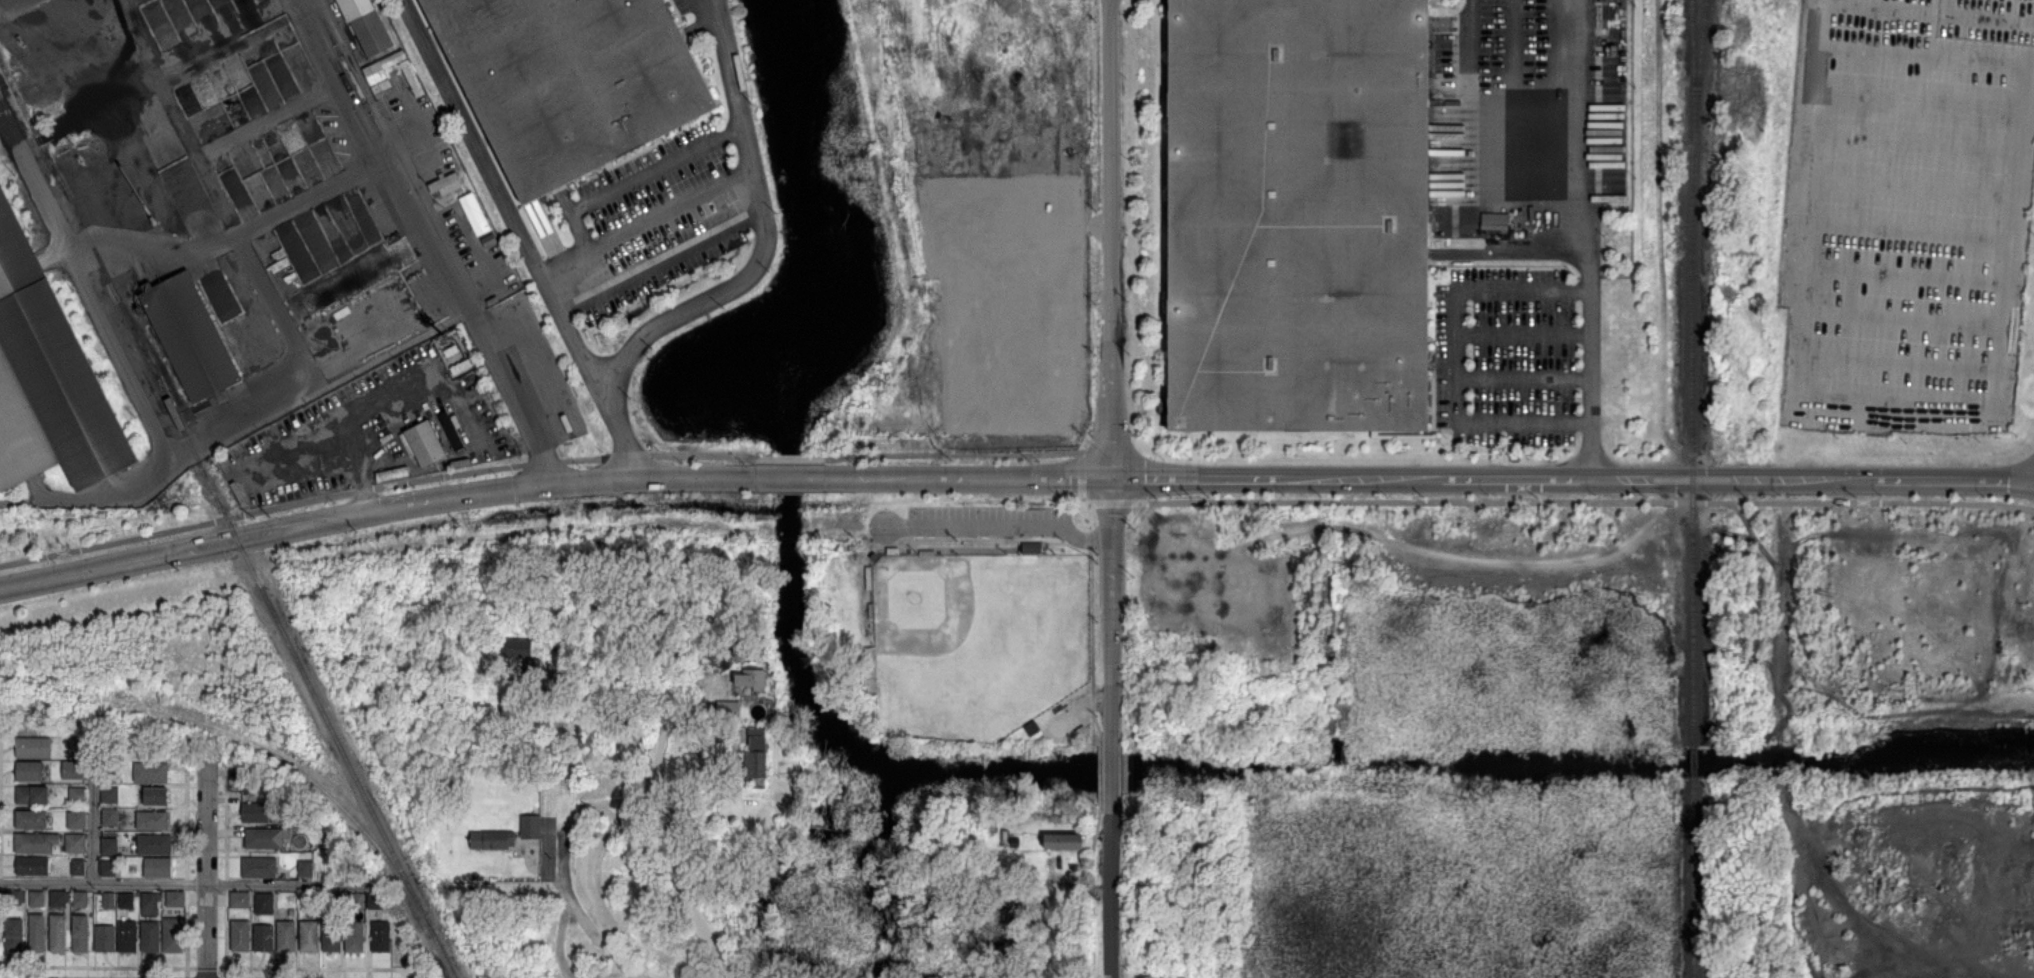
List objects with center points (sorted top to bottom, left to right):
parking lot: (685, 6)
road: (1924, 12)
road: (712, 25)
building: (371, 33)
road: (1513, 48)
road: (1920, 54)
railway: (1694, 72)
building: (376, 73)
building: (567, 79)
building: (382, 86)
road: (1480, 96)
road: (1917, 98)
road: (737, 106)
road: (1913, 142)
road: (637, 179)
building: (446, 184)
road: (1909, 186)
parking lot: (1907, 214)
building: (1298, 215)
building: (476, 216)
building: (1494, 221)
road: (647, 222)
parking lot: (650, 222)
road: (1906, 229)
road: (227, 238)
road: (525, 238)
road: (1588, 239)
road: (423, 241)
road: (662, 263)
road: (1902, 273)
road: (688, 307)
road: (98, 316)
road: (1902, 317)
road: (1522, 335)
building: (190, 336)
road: (1456, 353)
parking lot: (1507, 356)
road: (1898, 361)
road: (1111, 366)
railway: (1692, 372)
building: (48, 377)
road: (303, 377)
road: (1523, 378)
road: (1903, 395)
building: (448, 428)
building: (425, 443)
road: (953, 454)
road: (792, 460)
road: (1081, 477)
road: (1429, 477)
road: (791, 479)
road: (376, 487)
railway: (216, 496)
road: (1108, 502)
road: (1585, 502)
road: (375, 510)
parking lot: (988, 520)
road: (1000, 526)
building: (1032, 549)
building: (893, 551)
building: (926, 553)
building: (875, 557)
building: (869, 578)
building: (871, 611)
park: (978, 641)
building: (518, 648)
building: (533, 662)
building: (752, 680)
building: (728, 711)
building: (696, 727)
building: (1032, 729)
building: (78, 744)
building: (33, 747)
road: (643, 754)
building: (756, 757)
railway: (291, 762)
railway: (1695, 762)
building: (564, 765)
building: (77, 768)
building: (30, 770)
building: (151, 772)
building: (110, 773)
road: (1113, 773)
building: (33, 794)
building: (76, 794)
building: (109, 794)
building: (156, 795)
road: (93, 810)
building: (254, 812)
building: (279, 814)
building: (718, 815)
building: (110, 817)
building: (31, 819)
building: (152, 819)
building: (75, 820)
building: (990, 825)
building: (529, 827)
building: (267, 838)
building: (492, 840)
building: (35, 842)
building: (1014, 842)
building: (1063, 842)
building: (76, 843)
building: (154, 844)
building: (109, 845)
building: (305, 864)
building: (31, 866)
building: (78, 867)
building: (158, 867)
road: (206, 867)
building: (258, 867)
building: (108, 868)
railway: (1695, 878)
road: (184, 881)
road: (567, 891)
road: (682, 894)
road: (1113, 895)
building: (12, 898)
building: (57, 898)
building: (36, 899)
building: (80, 899)
building: (174, 899)
building: (109, 900)
building: (150, 900)
building: (239, 900)
building: (264, 900)
building: (356, 900)
building: (126, 901)
building: (334, 901)
building: (374, 901)
building: (290, 910)
building: (14, 933)
building: (37, 933)
building: (57, 933)
building: (80, 933)
building: (173, 935)
building: (241, 935)
building: (286, 935)
building: (308, 935)
building: (331, 935)
building: (127, 936)
building: (150, 936)
building: (354, 937)
building: (104, 938)
building: (262, 938)
building: (383, 938)
road: (599, 939)
railway: (445, 955)

